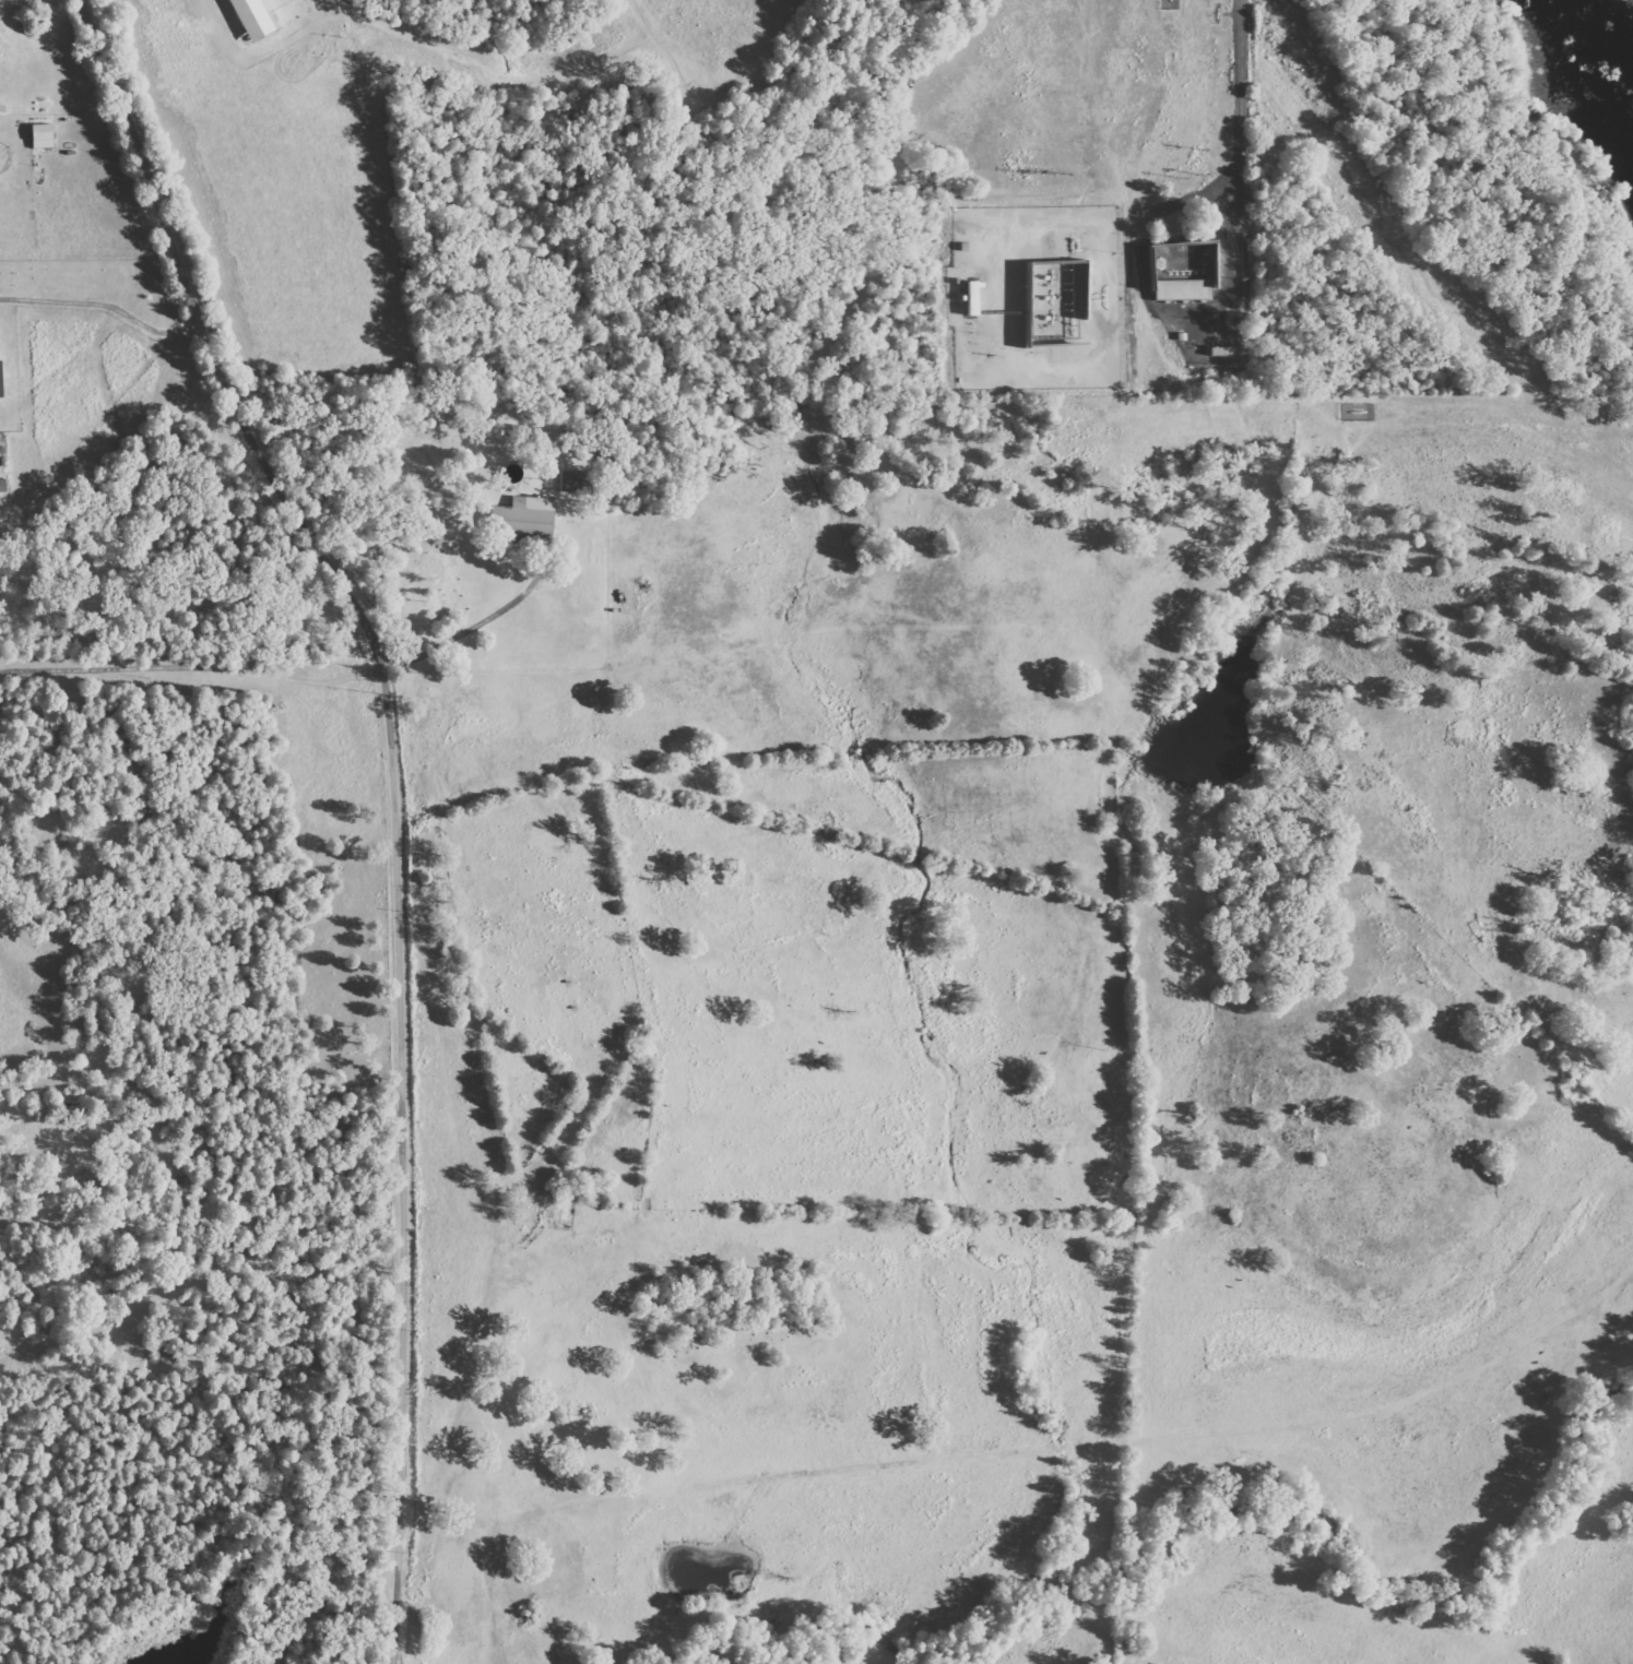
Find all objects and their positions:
building: (44, 136)
building: (1181, 284)
building: (1057, 301)
building: (1, 380)
building: (575, 482)
building: (3, 486)
road: (394, 794)

